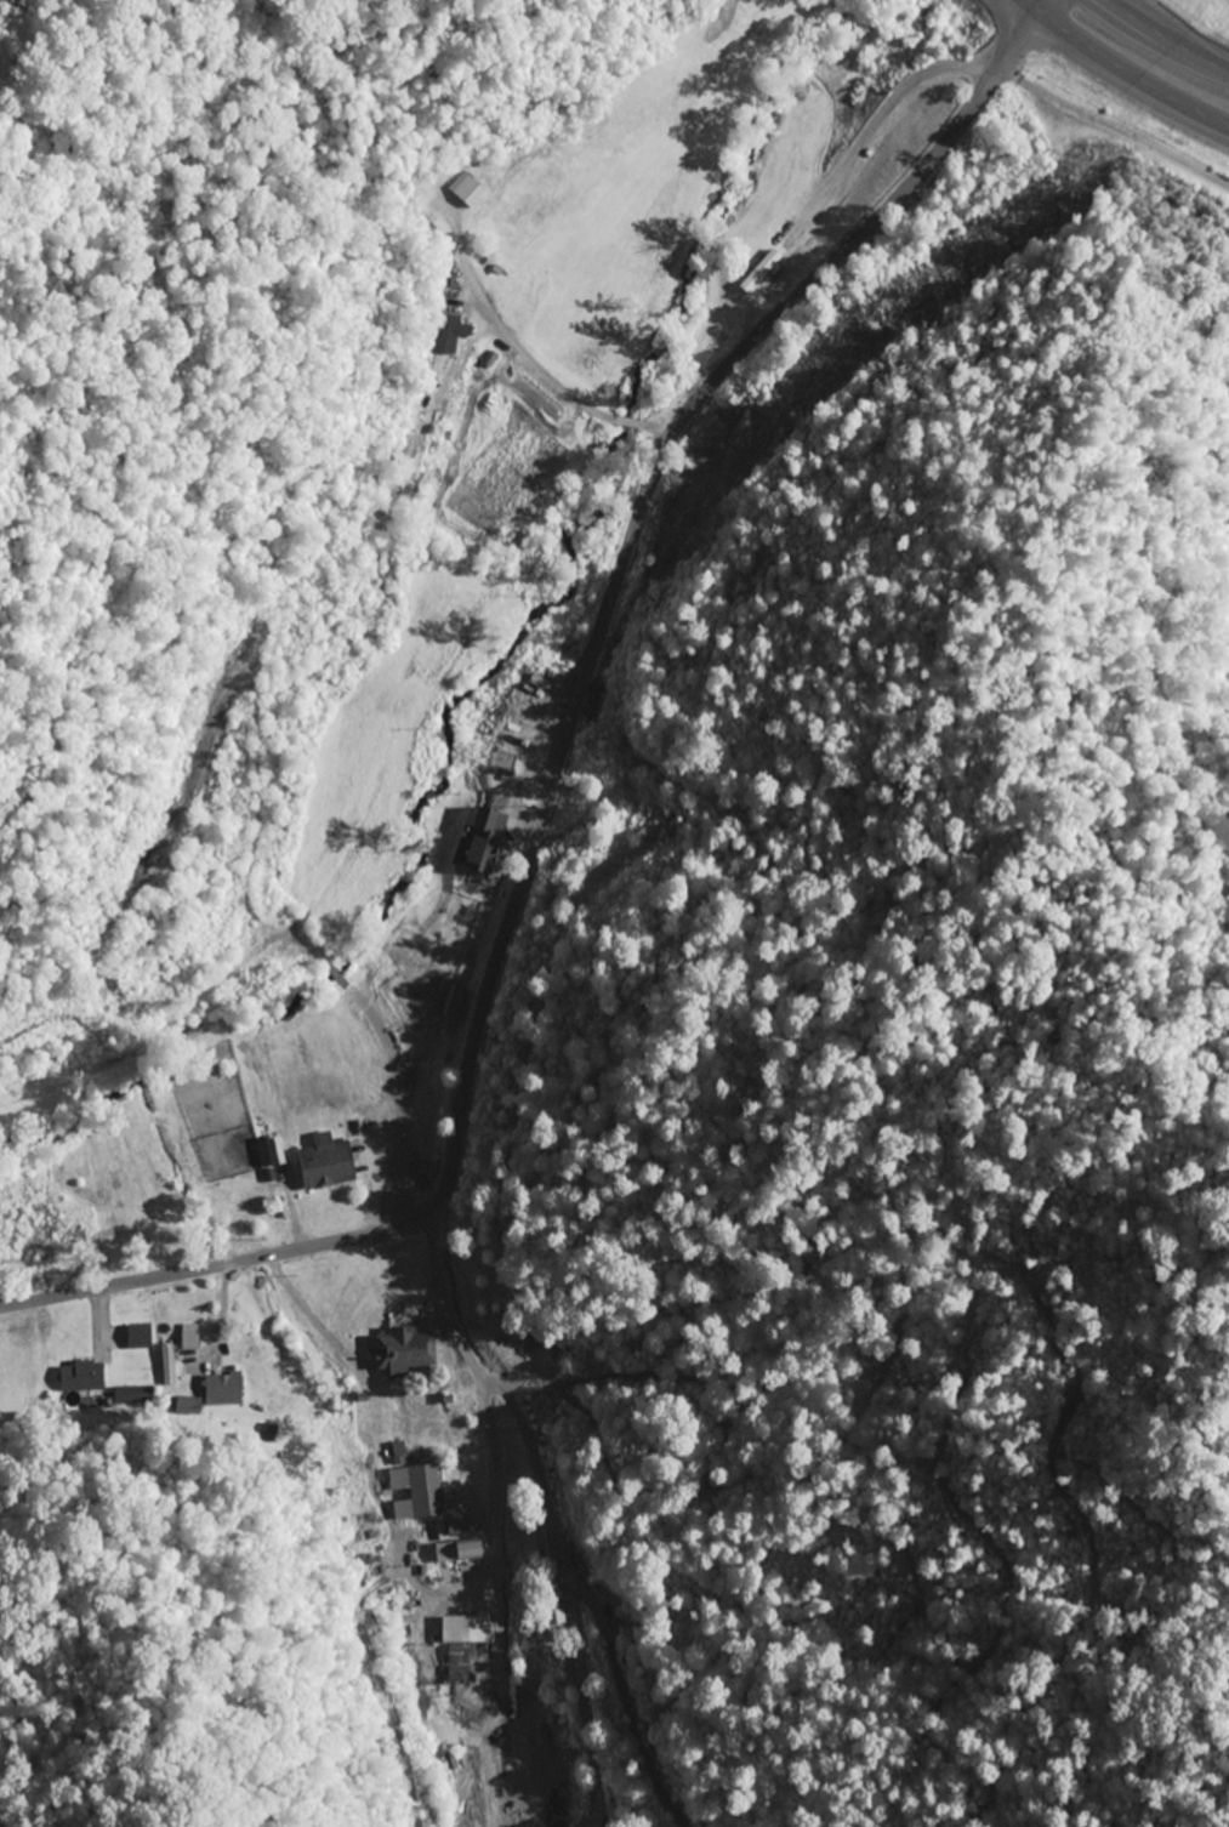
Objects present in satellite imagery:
road: (1160, 41)
road: (1119, 73)
building: (465, 189)
road: (528, 359)
building: (678, 506)
building: (534, 715)
road: (563, 758)
building: (648, 837)
building: (483, 842)
building: (315, 1177)
building: (246, 1194)
building: (404, 1351)
building: (166, 1355)
road: (91, 1359)
building: (81, 1378)
building: (223, 1390)
building: (425, 1408)
building: (425, 1491)
building: (457, 1550)
building: (552, 1610)

